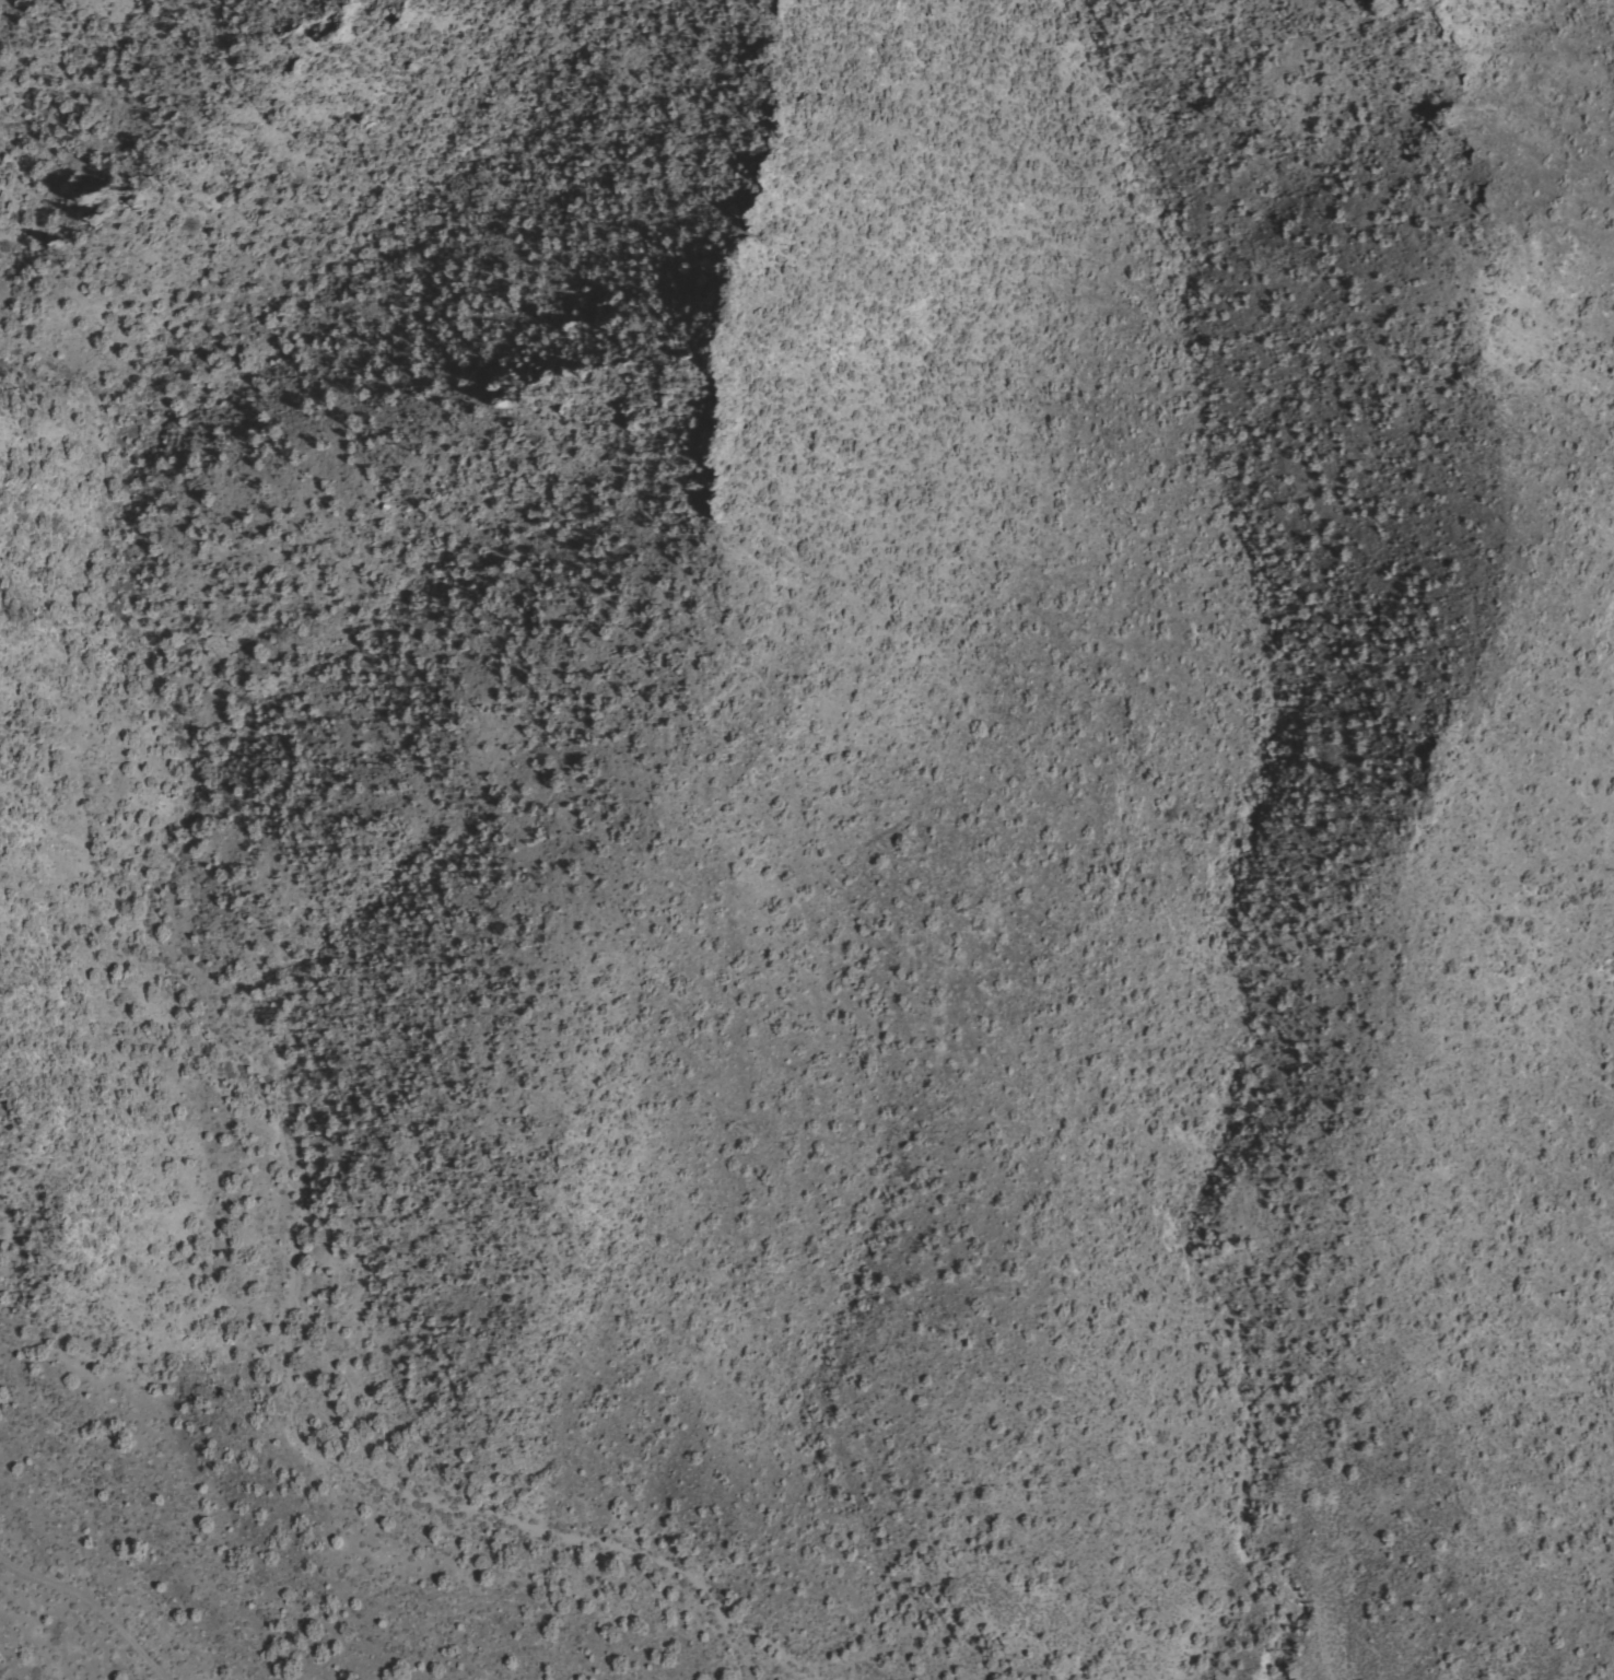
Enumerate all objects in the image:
road: (21, 1656)

